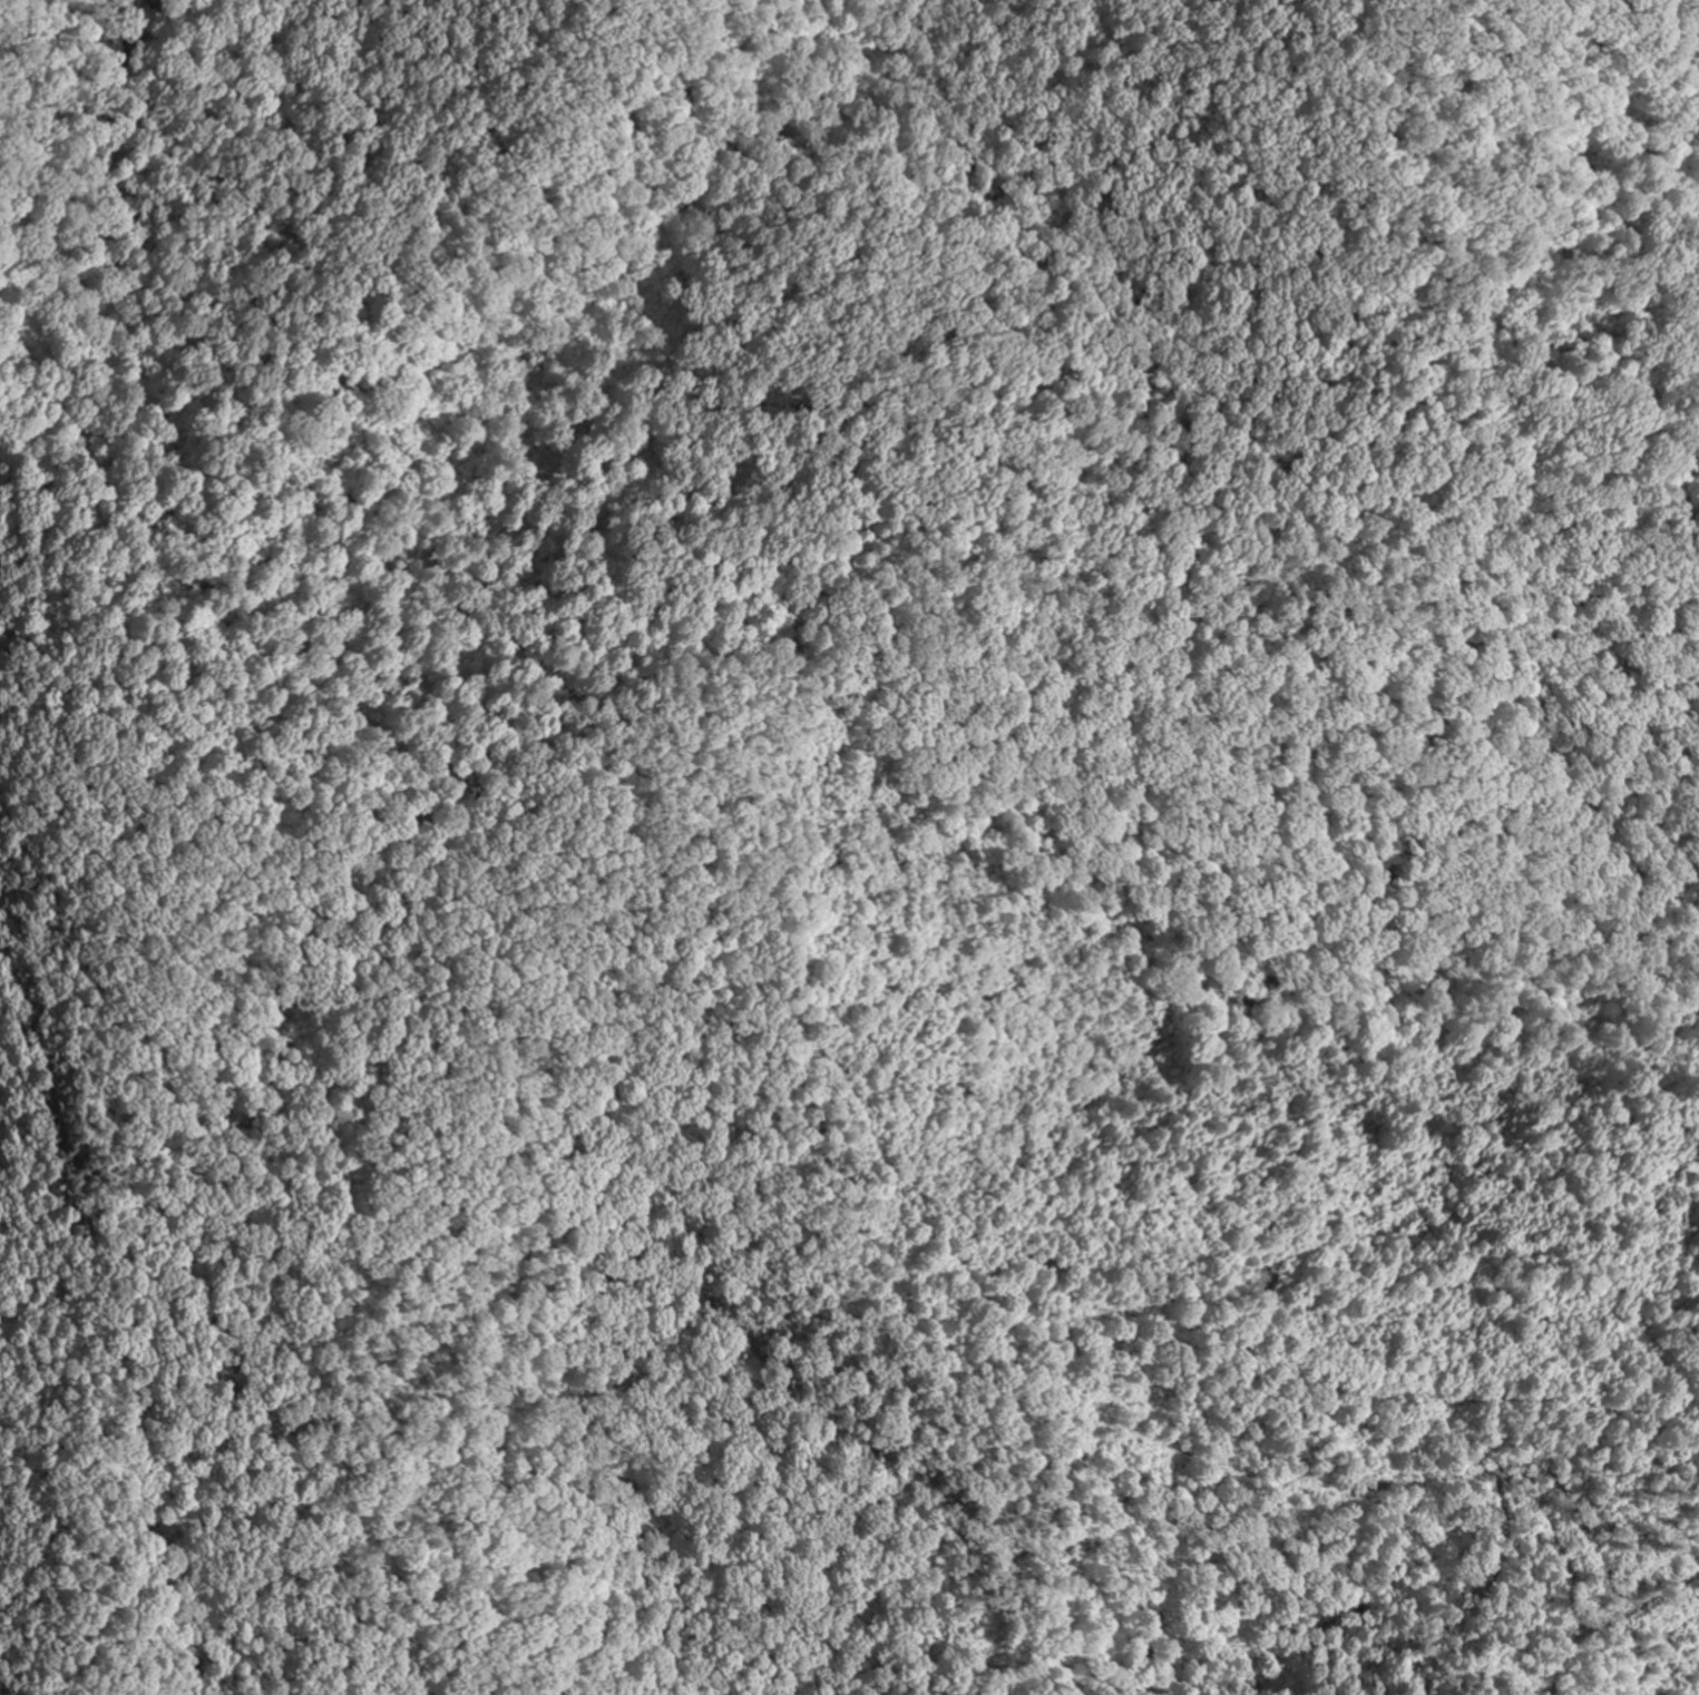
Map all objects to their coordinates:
road: (1560, 1476)

